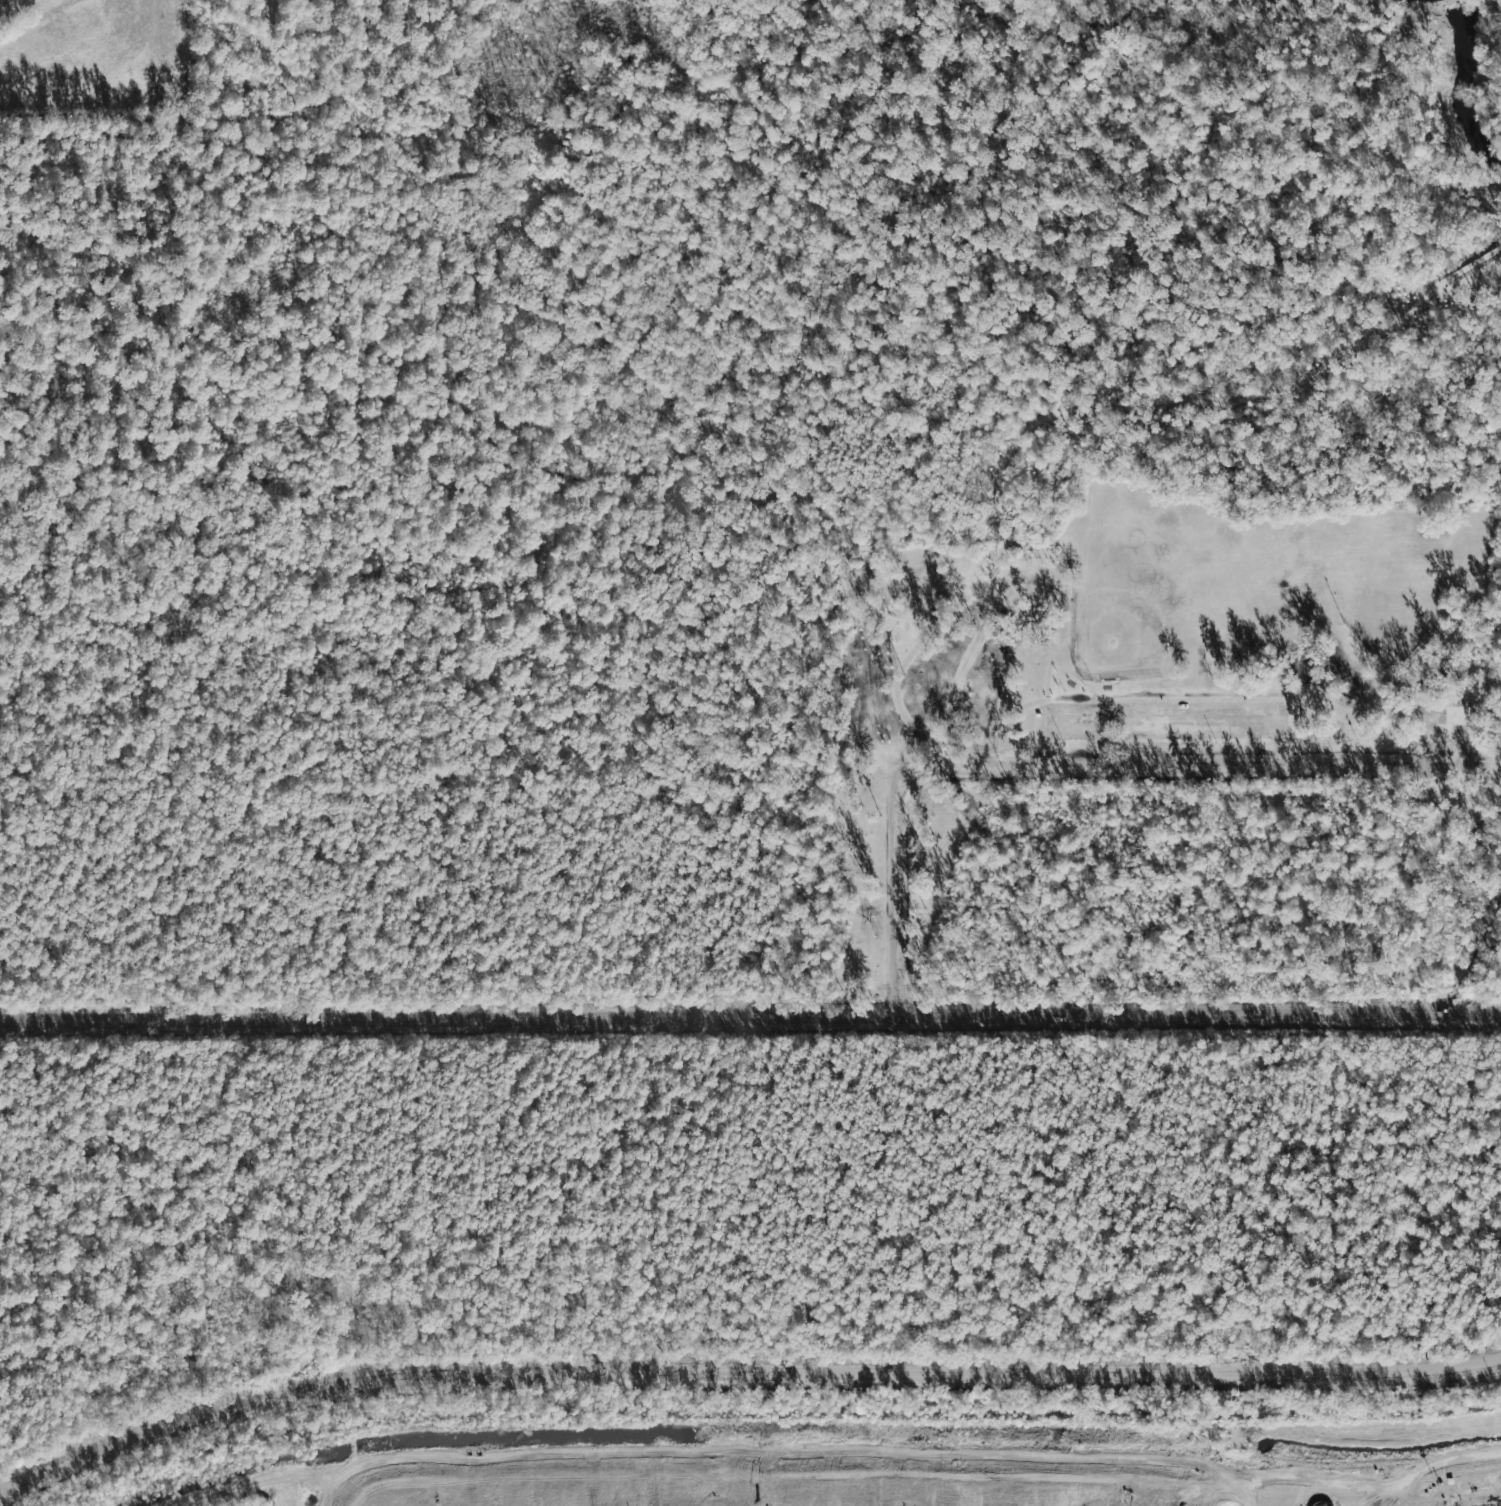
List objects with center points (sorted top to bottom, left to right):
park: (94, 57)
river: (1457, 85)
road: (1468, 266)
road: (1169, 400)
road: (507, 427)
park: (1173, 496)
park: (1160, 594)
road: (938, 623)
road: (1165, 710)
parking lot: (1165, 721)
road: (1166, 731)
road: (1062, 768)
road: (750, 1018)
road: (741, 1373)
road: (763, 1458)
landfill: (776, 1481)
road: (1373, 1488)
road: (1221, 1499)
road: (1247, 1499)

